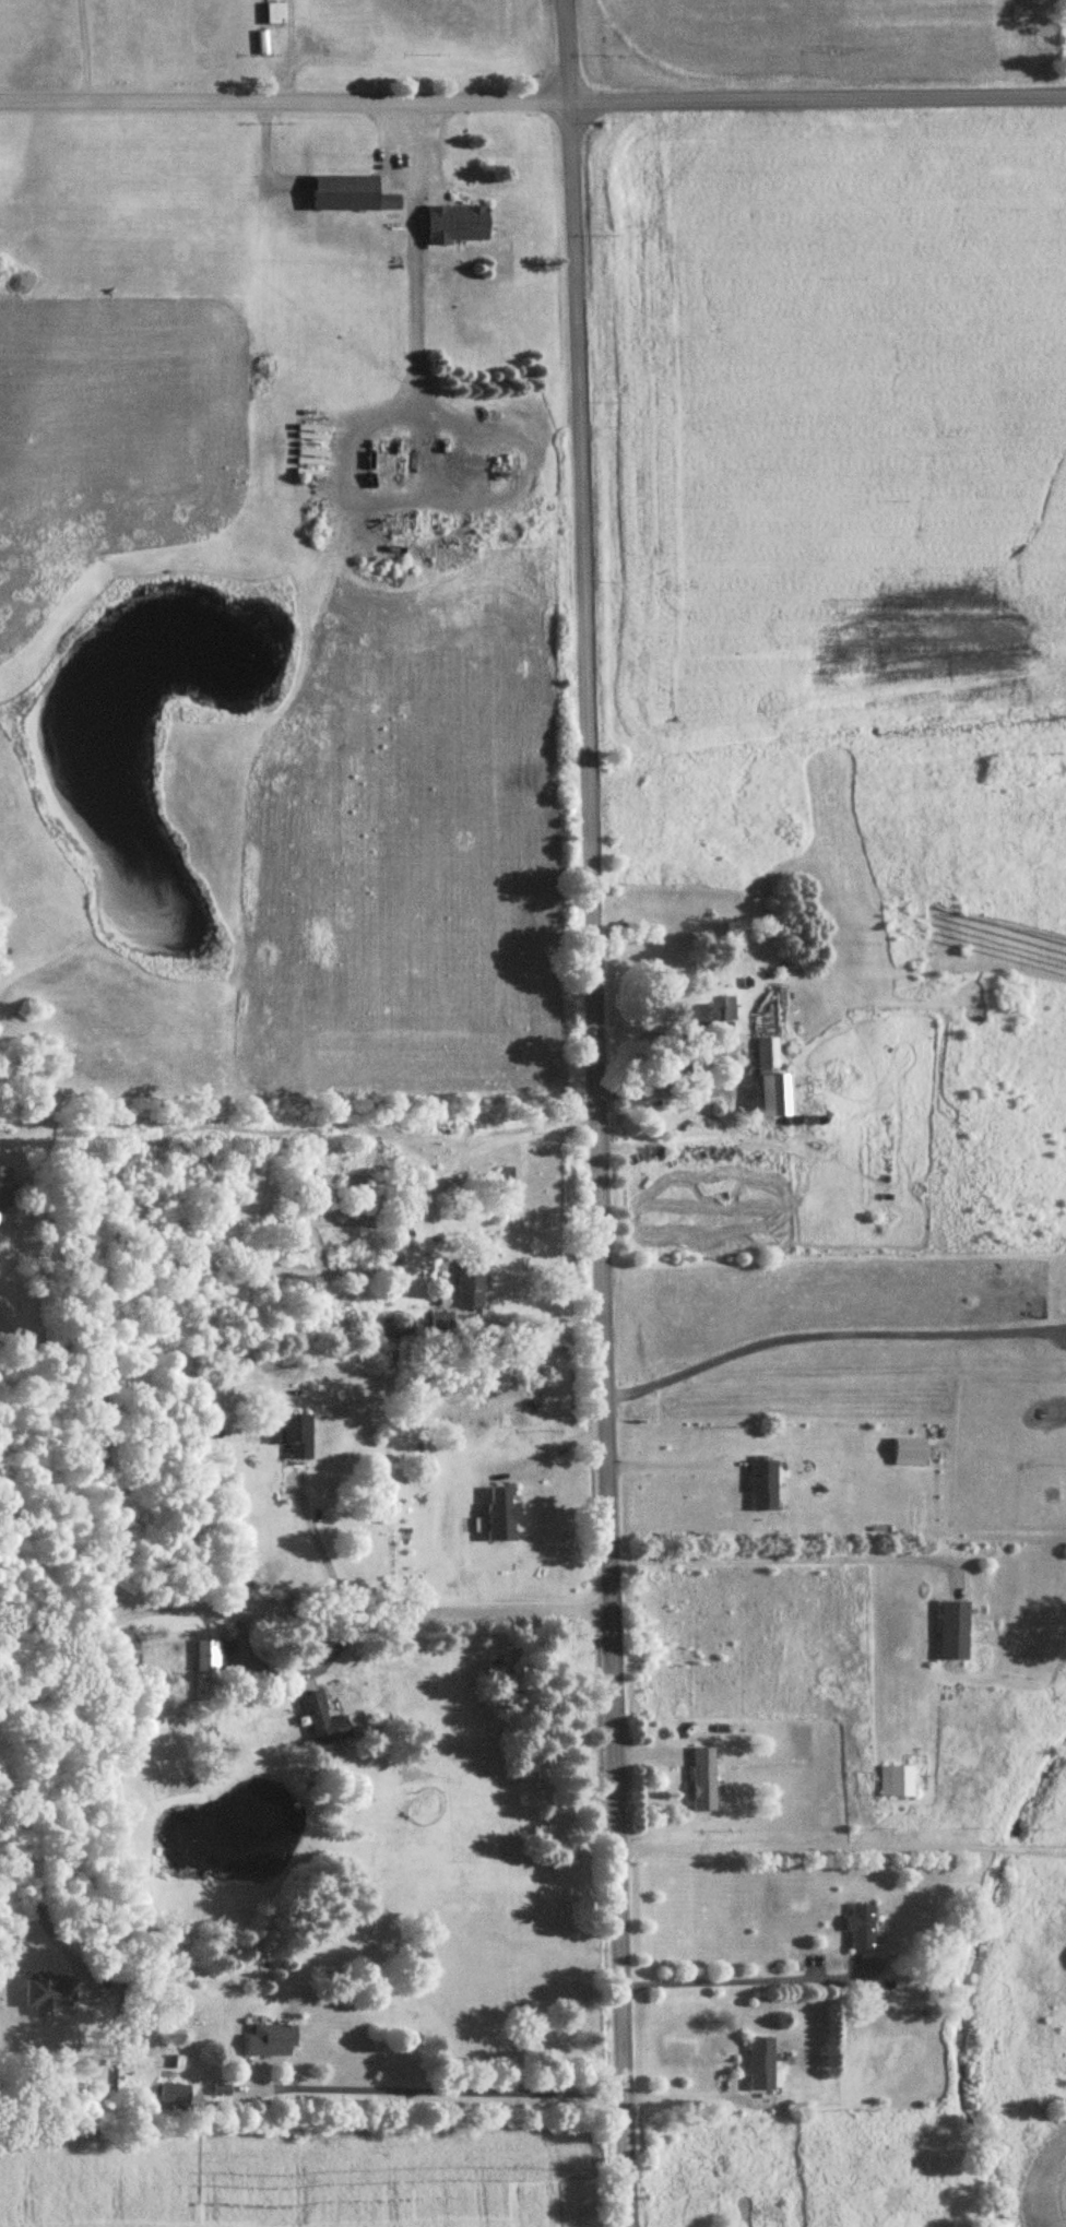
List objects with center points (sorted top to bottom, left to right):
airport runway: (144, 8)
building: (274, 14)
road: (76, 49)
road: (532, 95)
road: (263, 147)
building: (352, 196)
building: (458, 225)
road: (413, 249)
building: (712, 1015)
building: (767, 1054)
building: (775, 1098)
road: (594, 1113)
building: (5, 1187)
building: (472, 1283)
building: (448, 1325)
road: (829, 1331)
road: (103, 1436)
building: (297, 1437)
road: (552, 1447)
road: (663, 1462)
building: (763, 1486)
building: (502, 1516)
road: (320, 1545)
road: (787, 1555)
road: (369, 1612)
building: (954, 1632)
building: (208, 1656)
road: (66, 1659)
road: (289, 1671)
building: (324, 1721)
building: (703, 1779)
building: (895, 1781)
road: (842, 1848)
road: (34, 1884)
building: (862, 1926)
road: (741, 1982)
building: (50, 1995)
building: (272, 2041)
building: (761, 2064)
road: (434, 2093)
road: (677, 2096)

